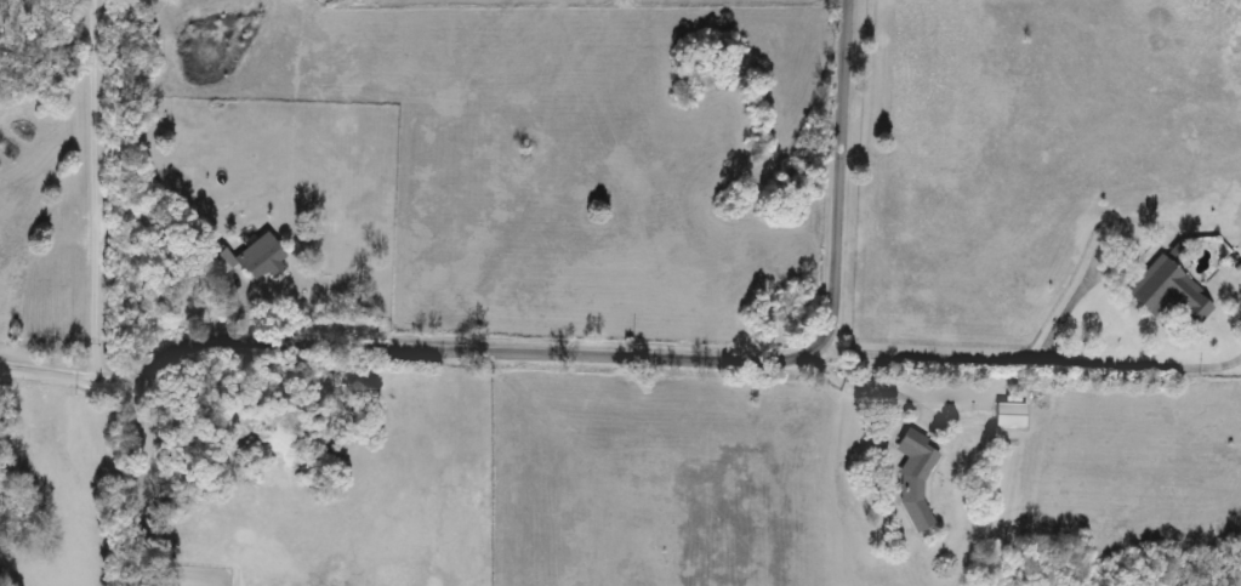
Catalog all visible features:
road: (91, 186)
building: (261, 258)
building: (221, 261)
building: (1167, 292)
road: (655, 358)
road: (1031, 362)
road: (73, 372)
road: (863, 389)
building: (1008, 416)
building: (913, 478)
road: (133, 482)

